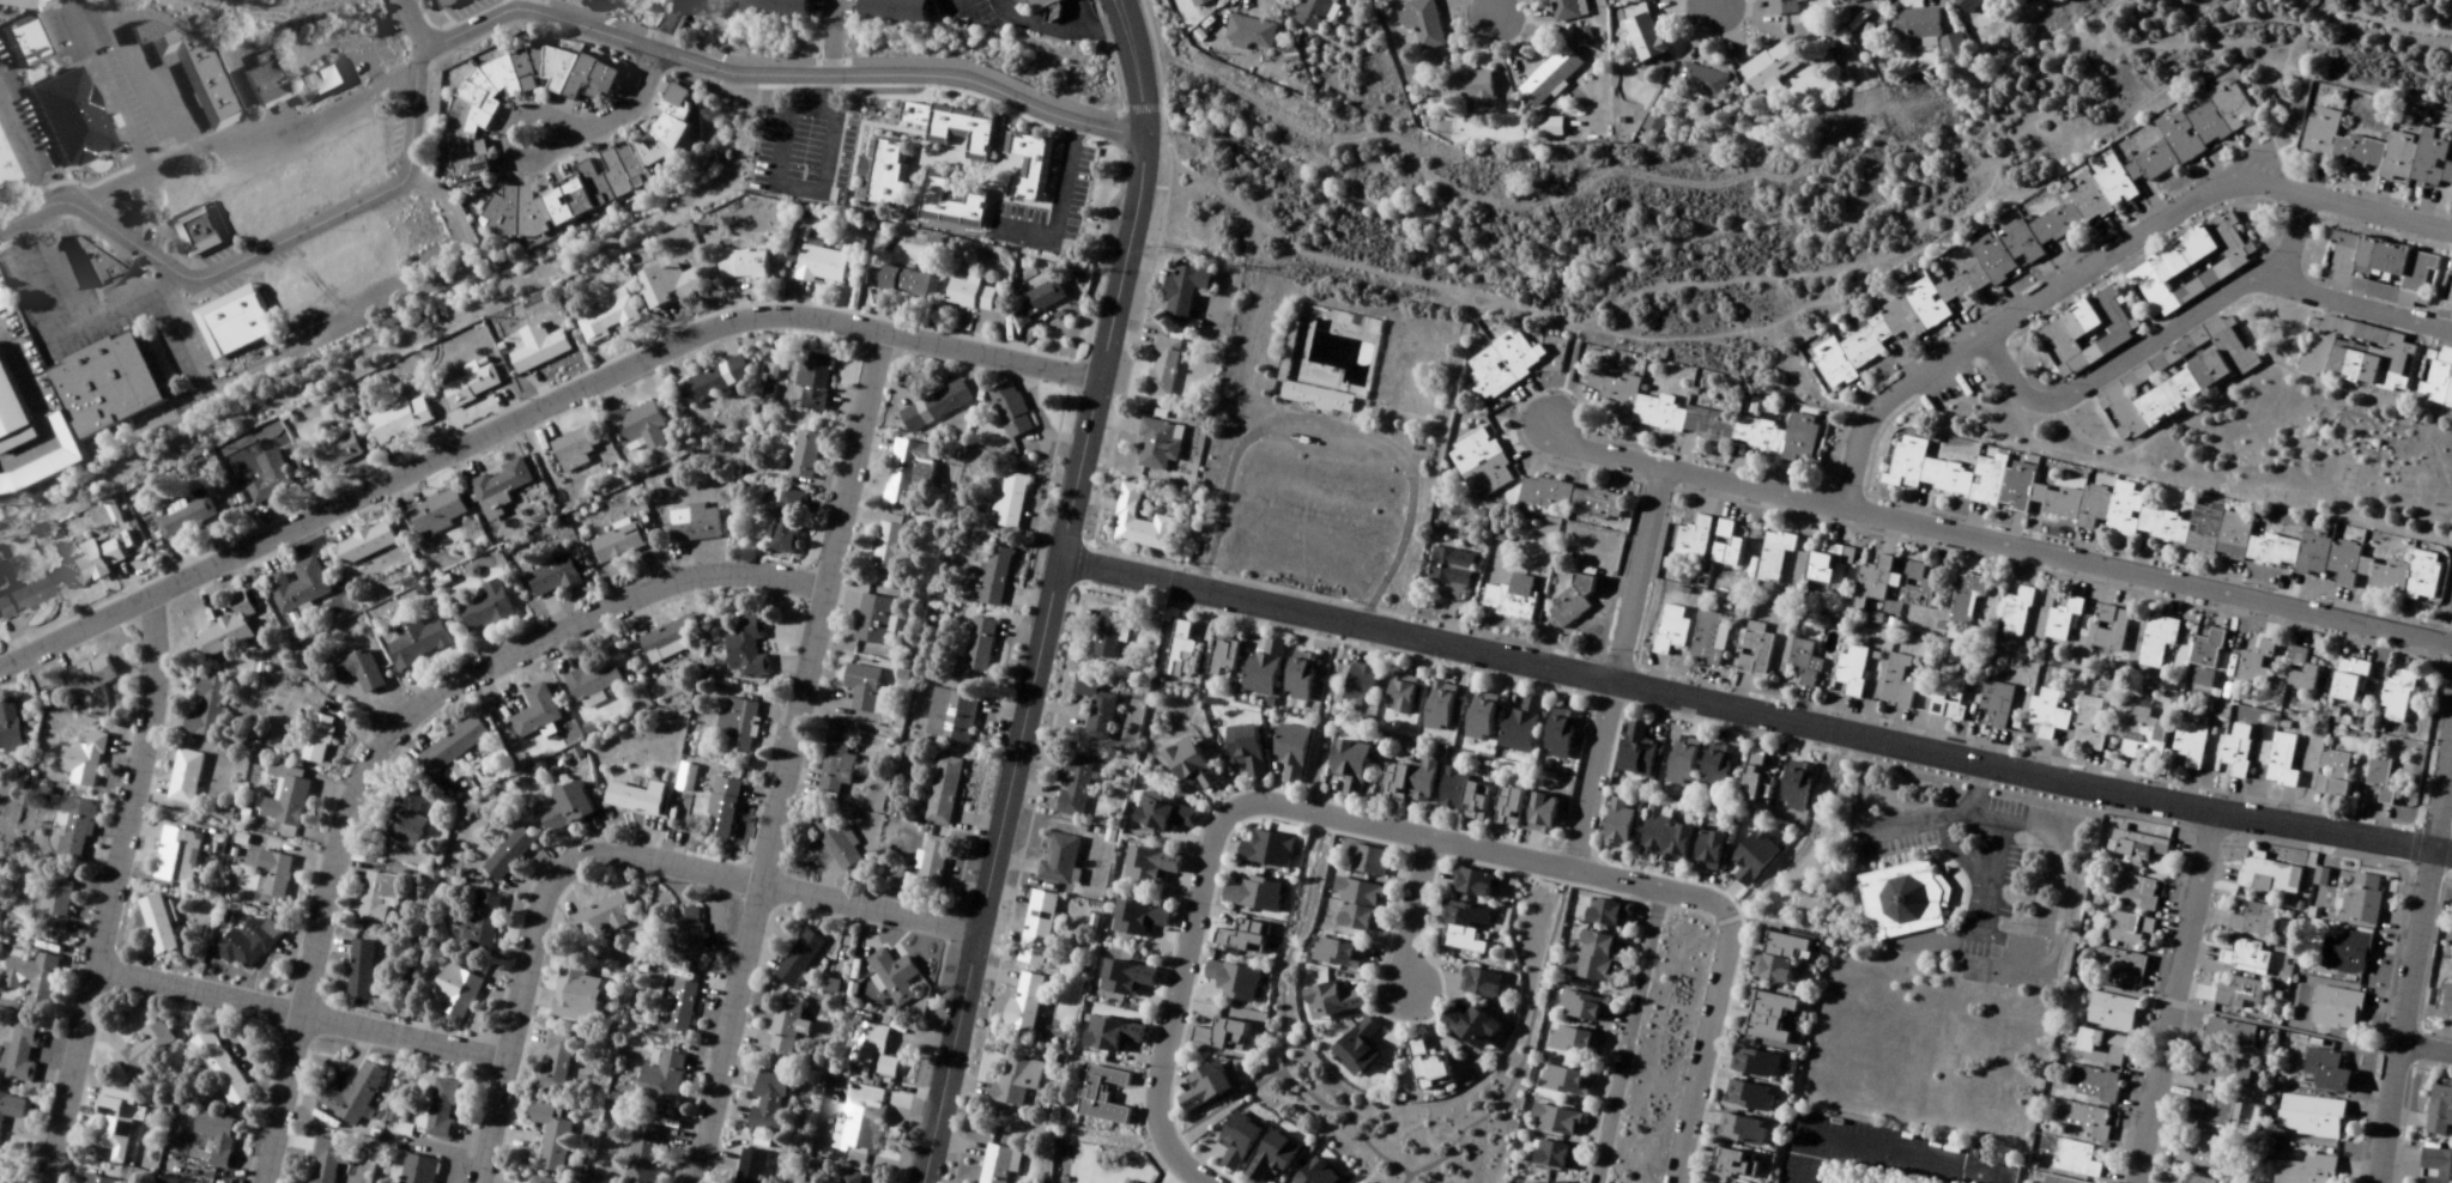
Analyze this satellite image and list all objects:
building: (1630, 0)
road: (1712, 0)
building: (1853, 1)
building: (444, 2)
building: (1200, 2)
building: (1030, 4)
building: (1967, 5)
road: (1491, 6)
building: (1785, 6)
building: (773, 7)
building: (1567, 10)
building: (890, 11)
building: (1313, 13)
building: (1422, 24)
building: (1915, 24)
road: (412, 25)
road: (666, 28)
building: (23, 29)
building: (1249, 32)
building: (1642, 34)
building: (1952, 48)
building: (1768, 69)
building: (187, 74)
building: (1549, 77)
road: (776, 79)
building: (253, 80)
building: (310, 81)
building: (1701, 83)
building: (1469, 91)
building: (510, 95)
building: (61, 114)
road: (611, 122)
building: (1548, 128)
building: (959, 129)
road: (217, 138)
parking lot: (791, 147)
building: (2378, 151)
building: (343, 162)
building: (1029, 168)
building: (4, 174)
building: (884, 174)
building: (588, 175)
road: (1139, 192)
building: (175, 196)
building: (266, 199)
building: (949, 204)
road: (349, 207)
building: (411, 230)
building: (2039, 230)
building: (196, 231)
road: (2285, 237)
road: (128, 239)
building: (92, 261)
road: (2103, 265)
building: (741, 266)
building: (821, 266)
road: (1748, 271)
building: (2379, 271)
building: (323, 272)
building: (896, 281)
road: (2262, 283)
building: (667, 286)
road: (168, 292)
building: (1183, 292)
building: (2147, 293)
building: (969, 296)
building: (2446, 297)
building: (1036, 301)
building: (606, 321)
building: (231, 322)
building: (1291, 333)
building: (537, 348)
building: (2357, 354)
building: (1502, 365)
building: (1162, 368)
road: (1557, 370)
building: (2175, 378)
building: (99, 380)
building: (2436, 380)
road: (2034, 381)
building: (713, 382)
building: (812, 382)
building: (471, 388)
building: (1315, 398)
building: (934, 407)
road: (532, 408)
building: (7, 411)
building: (1010, 411)
building: (399, 419)
building: (1700, 419)
building: (640, 426)
park: (1322, 436)
road: (1337, 441)
building: (1158, 444)
building: (573, 450)
parking lot: (1322, 450)
building: (337, 454)
building: (804, 456)
building: (42, 459)
building: (1483, 462)
building: (909, 472)
building: (270, 478)
building: (501, 481)
building: (1572, 499)
building: (1010, 502)
building: (435, 512)
building: (187, 518)
building: (2153, 520)
building: (788, 523)
building: (1139, 523)
building: (692, 524)
building: (1691, 541)
building: (369, 542)
road: (1992, 542)
building: (890, 544)
building: (617, 545)
building: (1726, 546)
building: (1774, 556)
building: (93, 562)
building: (1820, 569)
building: (1449, 574)
building: (992, 576)
building: (551, 578)
road: (1633, 580)
building: (1872, 583)
building: (297, 588)
building: (1917, 588)
building: (1510, 597)
building: (22, 599)
building: (1966, 599)
building: (484, 608)
building: (2016, 613)
building: (872, 620)
building: (2063, 620)
building: (2112, 629)
building: (226, 630)
building: (1670, 631)
building: (1108, 637)
building: (668, 639)
building: (1706, 641)
building: (2159, 641)
building: (979, 644)
building: (417, 645)
building: (744, 648)
building: (1756, 649)
building: (2208, 650)
building: (1230, 655)
building: (1805, 663)
building: (2256, 665)
building: (1261, 669)
building: (1852, 669)
building: (358, 671)
building: (2300, 673)
building: (90, 677)
building: (1298, 677)
building: (2203, 679)
building: (593, 681)
building: (2348, 681)
building: (1358, 685)
building: (1897, 685)
building: (861, 687)
building: (1948, 693)
building: (1398, 694)
building: (2397, 698)
building: (1437, 706)
building: (1996, 706)
building: (205, 708)
building: (1096, 708)
building: (535, 712)
road: (1756, 715)
building: (2047, 715)
building: (950, 716)
building: (1481, 716)
building: (738, 727)
building: (1520, 727)
building: (2088, 727)
building: (8, 728)
building: (2143, 732)
building: (1558, 734)
road: (393, 735)
building: (317, 739)
building: (2191, 744)
building: (453, 746)
building: (1245, 750)
building: (2238, 751)
building: (1290, 752)
building: (1636, 752)
road: (786, 759)
building: (83, 762)
building: (1681, 762)
building: (2283, 762)
building: (1188, 765)
building: (1349, 768)
building: (834, 769)
building: (1715, 769)
building: (2332, 775)
road: (1587, 776)
building: (184, 777)
building: (1755, 779)
building: (2381, 781)
road: (1015, 783)
building: (1406, 783)
building: (1796, 787)
building: (1073, 788)
building: (943, 790)
building: (1461, 796)
building: (285, 797)
building: (635, 799)
building: (718, 807)
building: (565, 808)
building: (1507, 808)
building: (1540, 814)
building: (1160, 815)
building: (404, 819)
building: (1616, 825)
building: (77, 829)
road: (1411, 835)
building: (1663, 837)
building: (835, 843)
building: (1259, 847)
building: (2137, 847)
parking lot: (1952, 850)
building: (1708, 851)
building: (1362, 854)
building: (508, 855)
building: (176, 856)
road: (613, 856)
building: (1754, 857)
building: (1059, 860)
building: (931, 863)
building: (1149, 866)
building: (276, 873)
building: (1464, 878)
building: (2272, 878)
building: (1350, 887)
building: (2131, 890)
road: (120, 892)
building: (1245, 892)
building: (1896, 896)
building: (377, 897)
building: (2363, 899)
building: (56, 906)
road: (1405, 910)
building: (1596, 911)
building: (1458, 912)
building: (609, 914)
building: (1348, 916)
building: (1138, 920)
building: (479, 921)
building: (2254, 921)
building: (158, 924)
building: (1036, 929)
building: (1235, 930)
building: (2130, 930)
building: (688, 932)
building: (249, 944)
road: (2411, 946)
building: (1331, 950)
building: (2345, 953)
building: (1585, 954)
building: (2247, 958)
building: (799, 959)
building: (361, 969)
building: (2119, 969)
building: (1770, 970)
building: (894, 976)
building: (1227, 977)
building: (32, 978)
building: (1125, 978)
building: (1473, 979)
building: (454, 991)
building: (577, 993)
building: (2240, 994)
road: (2171, 996)
building: (1322, 999)
building: (2447, 1002)
building: (1572, 1003)
building: (1027, 1005)
building: (680, 1007)
building: (2338, 1009)
building: (2113, 1012)
building: (1766, 1017)
road: (1277, 1020)
building: (1464, 1021)
road: (305, 1025)
building: (787, 1027)
building: (1217, 1030)
building: (2229, 1035)
building: (1112, 1036)
road: (1623, 1036)
building: (1562, 1038)
building: (1350, 1042)
road: (1518, 1046)
road: (2424, 1046)
building: (144, 1048)
building: (2102, 1049)
building: (872, 1050)
building: (20, 1051)
building: (556, 1062)
building: (1422, 1062)
building: (1754, 1064)
building: (220, 1068)
building: (2327, 1070)
building: (2223, 1073)
building: (1557, 1079)
building: (661, 1080)
building: (1015, 1081)
building: (2094, 1085)
building: (1197, 1086)
building: (353, 1094)
building: (1748, 1097)
building: (769, 1100)
road: (1219, 1102)
building: (11, 1106)
building: (443, 1108)
building: (2210, 1110)
building: (2440, 1112)
building: (1549, 1116)
building: (2311, 1117)
building: (2084, 1120)
building: (116, 1122)
building: (862, 1126)
building: (1742, 1129)
building: (214, 1134)
building: (552, 1135)
building: (1230, 1135)
road: (1881, 1145)
parking lot: (1879, 1147)
building: (2200, 1151)
building: (1548, 1152)
building: (647, 1153)
building: (1264, 1154)
building: (327, 1160)
building: (2078, 1160)
building: (1733, 1161)
building: (997, 1164)
building: (2438, 1165)
building: (751, 1166)
building: (418, 1169)
building: (2307, 1170)
building: (1309, 1172)
building: (849, 1177)
building: (5, 1178)
building: (96, 1178)
building: (540, 1179)
building: (1538, 1179)
building: (2197, 1179)
building: (2062, 1181)
building: (1562, 1182)

